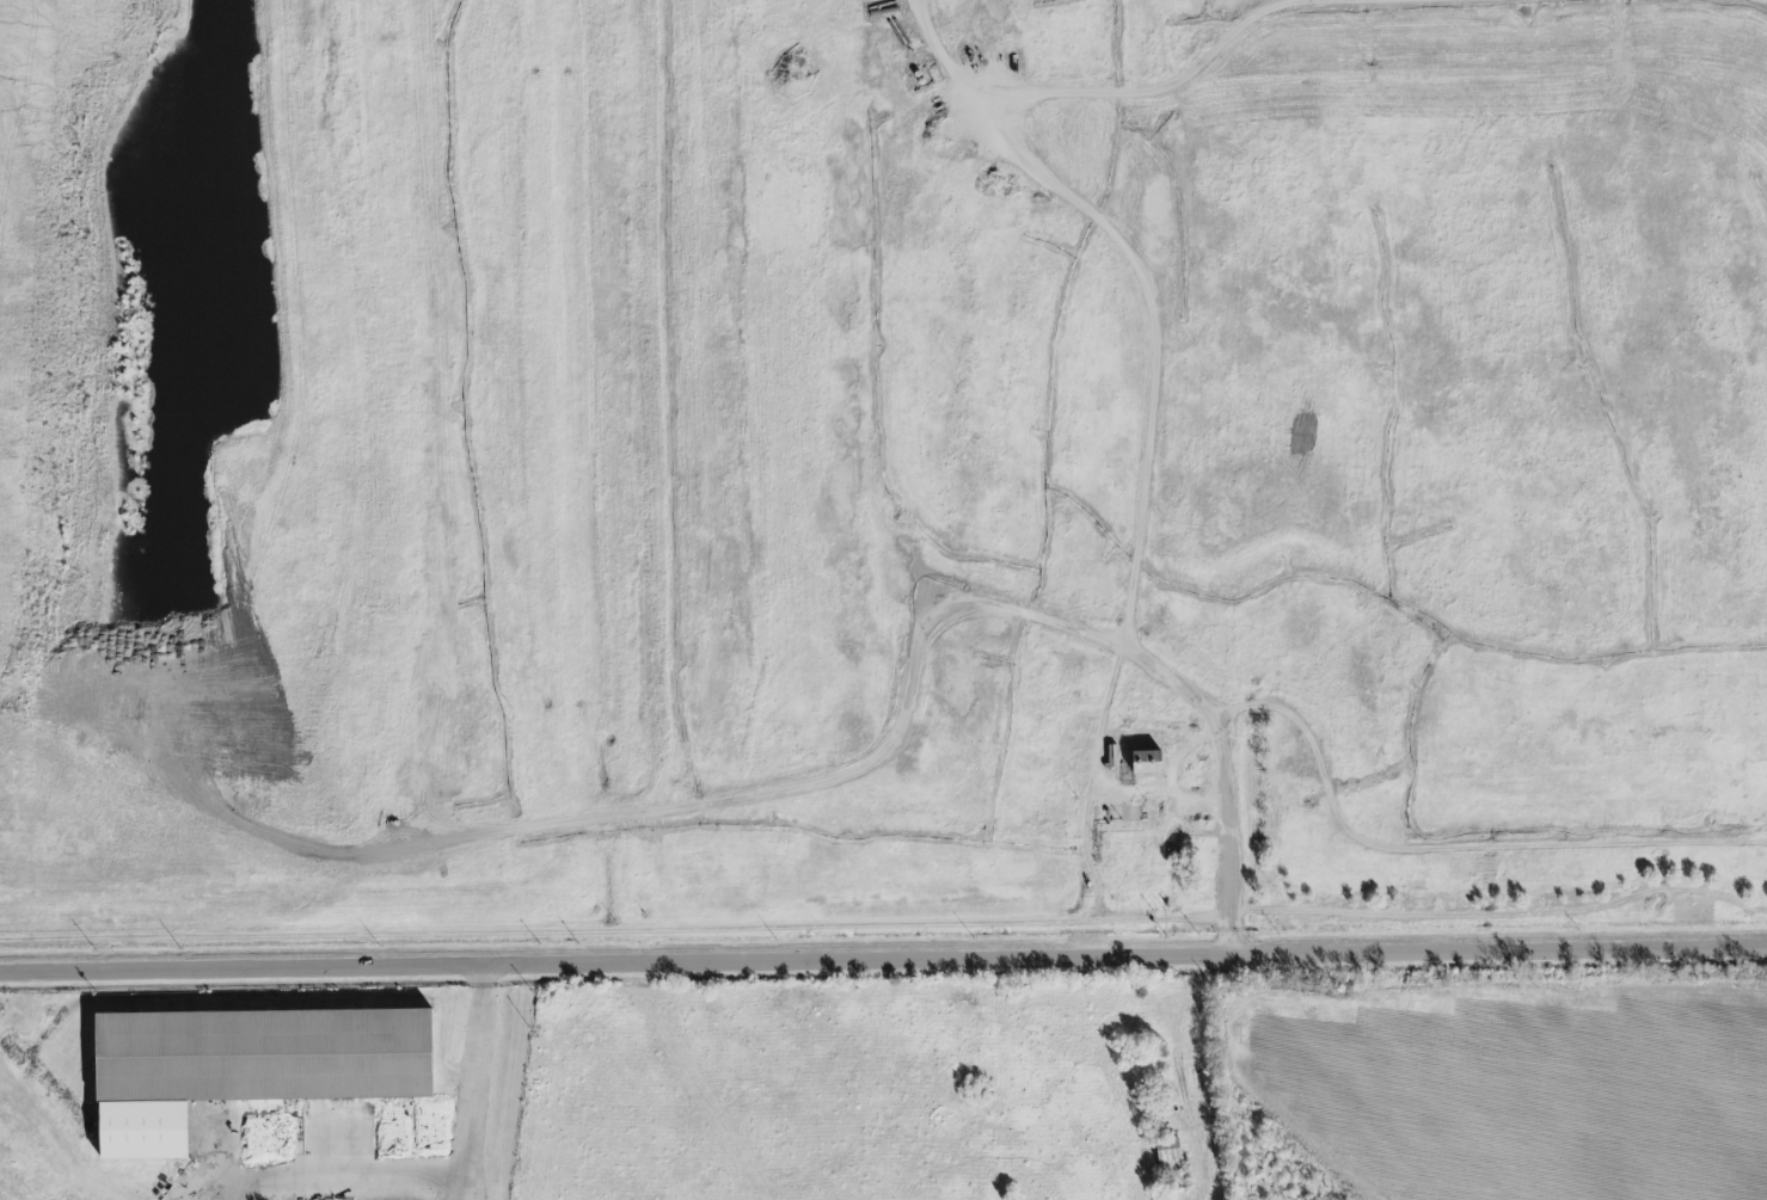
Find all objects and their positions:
road: (922, 6)
road: (1265, 17)
road: (1155, 275)
road: (50, 318)
building: (1111, 756)
building: (1148, 762)
road: (1338, 763)
road: (818, 794)
road: (1563, 839)
road: (883, 959)
building: (259, 1056)
road: (479, 1082)
building: (1167, 1153)
road: (331, 1182)
road: (216, 1196)

